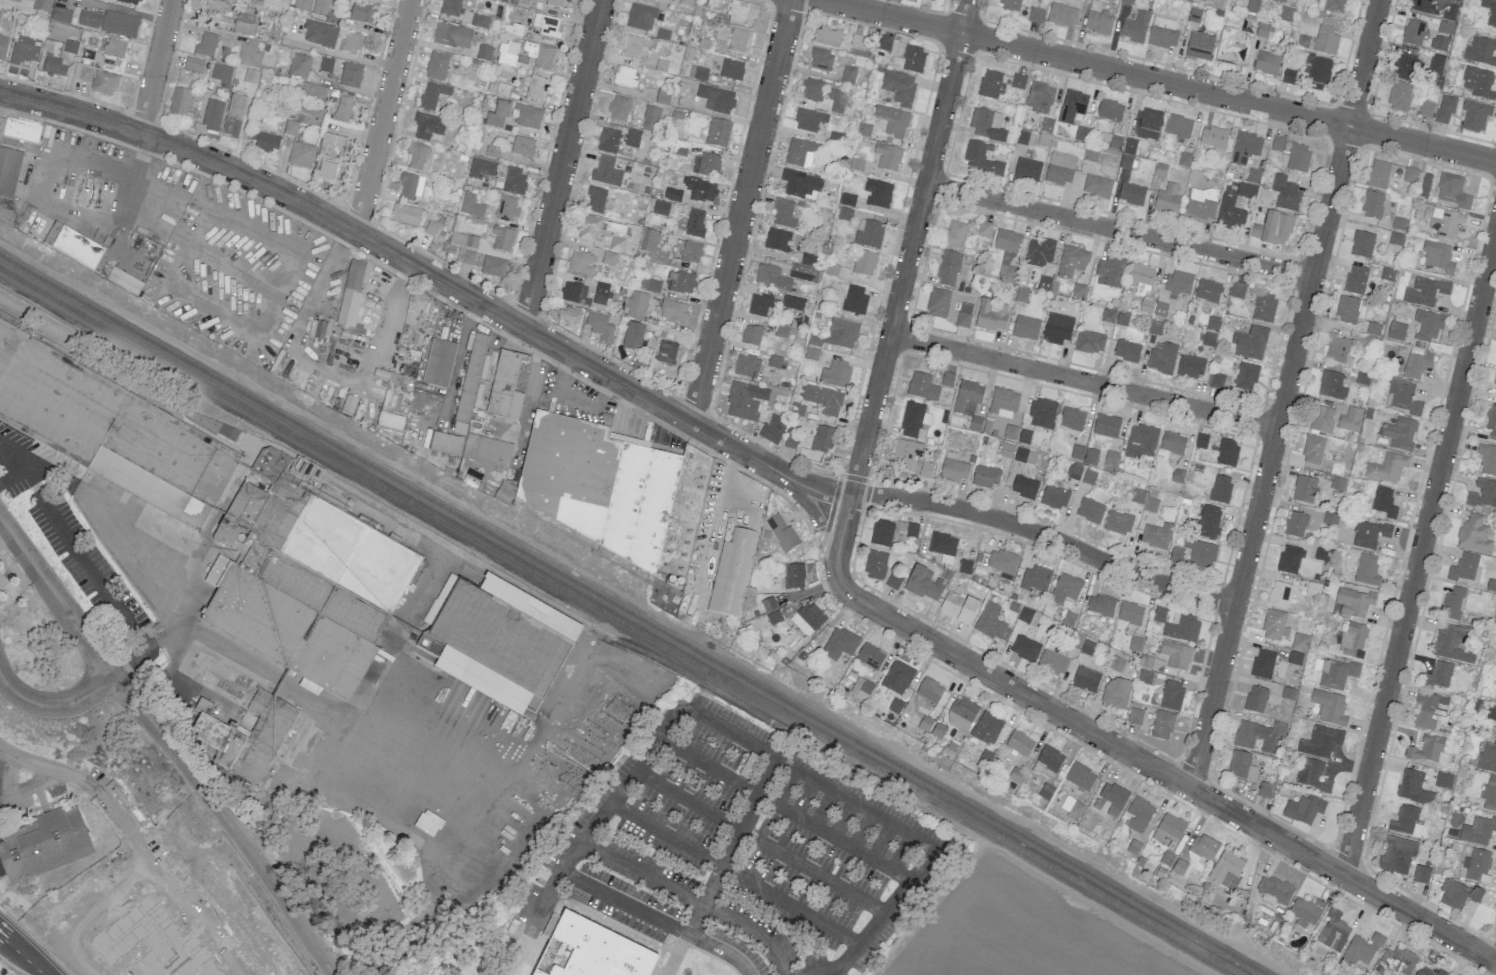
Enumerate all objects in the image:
building: (15, 0)
building: (109, 0)
building: (933, 0)
building: (1106, 0)
building: (1456, 0)
building: (645, 1)
building: (1282, 1)
building: (130, 2)
building: (1127, 2)
building: (558, 3)
building: (686, 3)
building: (41, 5)
building: (302, 5)
building: (1009, 5)
building: (1331, 5)
building: (321, 6)
building: (1422, 6)
building: (450, 7)
building: (216, 9)
road: (126, 11)
building: (1490, 11)
building: (0, 12)
building: (361, 13)
building: (742, 13)
building: (1061, 14)
building: (1286, 14)
building: (61, 15)
building: (1035, 15)
building: (641, 17)
building: (479, 21)
building: (109, 22)
building: (1098, 22)
building: (245, 24)
building: (1248, 25)
building: (547, 26)
building: (1134, 28)
building: (1262, 30)
building: (1163, 33)
building: (1413, 33)
building: (319, 35)
building: (452, 36)
building: (827, 36)
building: (1326, 36)
building: (739, 41)
building: (352, 43)
building: (885, 43)
building: (1439, 43)
building: (206, 44)
building: (634, 46)
building: (1199, 46)
building: (3, 47)
building: (115, 48)
building: (1229, 48)
building: (25, 50)
building: (1481, 51)
building: (484, 52)
building: (251, 53)
road: (344, 57)
building: (545, 58)
building: (821, 60)
building: (910, 60)
building: (1267, 63)
building: (326, 64)
building: (193, 65)
building: (1435, 65)
building: (53, 66)
building: (299, 66)
building: (436, 66)
building: (1404, 66)
road: (158, 67)
building: (731, 70)
building: (1320, 70)
building: (82, 72)
building: (220, 72)
building: (698, 73)
building: (250, 75)
building: (350, 75)
building: (848, 75)
building: (1288, 76)
building: (624, 77)
road: (1159, 79)
building: (1018, 81)
building: (1478, 82)
building: (104, 83)
building: (990, 84)
building: (898, 87)
building: (537, 88)
building: (811, 90)
building: (432, 95)
building: (1399, 96)
building: (1039, 97)
building: (716, 99)
building: (836, 100)
building: (179, 102)
building: (1072, 105)
building: (343, 108)
building: (618, 108)
building: (1425, 109)
building: (1110, 110)
building: (212, 115)
building: (497, 115)
building: (1475, 115)
building: (234, 116)
road: (387, 117)
building: (529, 117)
building: (651, 119)
building: (809, 120)
building: (892, 121)
building: (987, 124)
building: (1148, 124)
building: (428, 125)
building: (1178, 126)
building: (291, 127)
building: (19, 130)
building: (863, 130)
building: (717, 133)
building: (632, 138)
building: (1214, 139)
building: (608, 140)
building: (266, 142)
building: (1114, 142)
building: (1277, 143)
building: (523, 147)
building: (1245, 147)
building: (333, 148)
building: (800, 153)
building: (301, 155)
building: (416, 155)
building: (1091, 155)
building: (887, 157)
building: (1297, 157)
building: (981, 159)
building: (1184, 159)
building: (1126, 162)
road: (561, 163)
building: (705, 165)
building: (856, 165)
building: (1060, 168)
building: (326, 170)
building: (481, 170)
building: (1027, 170)
building: (9, 172)
building: (606, 172)
building: (1378, 174)
building: (1410, 175)
road: (46, 181)
building: (514, 181)
building: (801, 185)
building: (410, 186)
building: (1097, 186)
building: (1424, 186)
building: (699, 189)
building: (1246, 190)
building: (1452, 191)
building: (877, 193)
building: (1285, 193)
building: (672, 194)
building: (1131, 194)
building: (1167, 199)
building: (596, 200)
building: (848, 200)
building: (1199, 205)
building: (1372, 205)
building: (471, 206)
building: (660, 207)
building: (506, 209)
road: (740, 211)
building: (784, 214)
building: (844, 214)
building: (1229, 214)
building: (405, 216)
building: (8, 217)
building: (1446, 222)
building: (695, 224)
building: (431, 228)
building: (588, 228)
building: (984, 229)
building: (1273, 229)
road: (1119, 230)
building: (868, 234)
building: (955, 234)
building: (460, 239)
building: (502, 239)
building: (1395, 239)
building: (777, 240)
building: (1007, 241)
building: (617, 243)
building: (1362, 244)
building: (73, 246)
building: (652, 246)
road: (911, 247)
building: (691, 252)
building: (1039, 252)
building: (468, 257)
building: (609, 257)
building: (1438, 257)
building: (1072, 261)
building: (581, 263)
building: (864, 263)
building: (494, 266)
building: (948, 269)
building: (1109, 271)
building: (803, 273)
building: (1007, 273)
building: (1387, 273)
road: (433, 277)
building: (771, 277)
building: (1355, 280)
building: (124, 281)
building: (679, 282)
building: (1179, 282)
building: (649, 284)
building: (1078, 290)
building: (1207, 290)
building: (1237, 290)
building: (351, 292)
building: (1425, 292)
building: (574, 293)
building: (601, 293)
building: (854, 299)
building: (793, 303)
building: (760, 304)
building: (637, 305)
building: (949, 306)
building: (1264, 307)
building: (1347, 309)
building: (673, 311)
building: (568, 315)
building: (991, 315)
building: (1108, 315)
building: (1122, 318)
building: (1428, 325)
building: (600, 326)
building: (1025, 327)
building: (1156, 327)
building: (1057, 328)
building: (317, 329)
building: (1375, 329)
building: (1396, 331)
building: (837, 334)
building: (751, 335)
building: (633, 336)
building: (1090, 342)
building: (1249, 343)
building: (1127, 350)
road: (461, 351)
building: (666, 351)
building: (1338, 351)
building: (811, 354)
building: (1162, 358)
building: (439, 363)
building: (746, 365)
building: (1416, 365)
building: (1190, 367)
building: (836, 374)
building: (1246, 377)
building: (1494, 378)
building: (947, 379)
building: (1216, 380)
road: (1083, 381)
building: (35, 383)
building: (469, 384)
building: (1332, 385)
building: (505, 386)
building: (922, 387)
road: (528, 390)
road: (1283, 393)
building: (392, 394)
building: (1402, 396)
building: (968, 397)
building: (824, 400)
building: (745, 401)
building: (1003, 403)
building: (1042, 413)
building: (1072, 418)
building: (912, 420)
building: (1322, 420)
building: (1349, 420)
building: (390, 422)
building: (1491, 422)
building: (212, 425)
building: (1106, 425)
building: (772, 429)
building: (1010, 432)
building: (1400, 433)
building: (822, 439)
building: (1140, 441)
building: (1200, 441)
building: (1172, 443)
building: (445, 444)
building: (1313, 449)
building: (1006, 450)
building: (487, 451)
building: (1076, 452)
building: (1227, 452)
building: (903, 453)
building: (1025, 456)
building: (1091, 456)
road: (11, 457)
building: (188, 458)
building: (1487, 459)
building: (1110, 460)
building: (270, 464)
building: (1386, 468)
building: (926, 469)
building: (954, 469)
building: (1074, 472)
road: (11, 475)
building: (1177, 476)
building: (985, 477)
building: (1089, 477)
building: (1337, 483)
building: (1024, 487)
building: (149, 488)
building: (1220, 489)
building: (1304, 489)
building: (613, 493)
building: (1483, 494)
building: (1138, 496)
building: (1054, 497)
building: (1383, 502)
building: (1151, 505)
building: (1090, 510)
road: (816, 513)
road: (845, 522)
building: (1118, 522)
building: (1207, 522)
road: (720, 523)
building: (1296, 524)
building: (907, 529)
building: (781, 532)
building: (882, 533)
building: (1369, 534)
road: (1046, 535)
building: (1156, 535)
building: (1474, 535)
building: (943, 546)
road: (1419, 553)
building: (1176, 554)
building: (1200, 554)
building: (1289, 559)
building: (1002, 563)
building: (875, 565)
building: (1465, 568)
building: (1366, 570)
building: (731, 573)
road: (93, 575)
building: (794, 576)
building: (1034, 578)
building: (893, 581)
building: (924, 583)
building: (1065, 589)
building: (1279, 594)
building: (1354, 602)
building: (768, 603)
building: (1452, 603)
building: (1101, 605)
building: (958, 607)
building: (275, 608)
railway: (634, 613)
building: (1130, 613)
building: (1159, 614)
building: (1025, 615)
building: (807, 619)
railway: (621, 621)
building: (992, 623)
building: (1275, 625)
building: (1183, 629)
railway: (605, 636)
building: (1351, 640)
building: (1300, 642)
building: (840, 644)
building: (1135, 644)
building: (1451, 644)
building: (1025, 648)
building: (1176, 655)
building: (870, 656)
building: (1295, 658)
building: (1052, 663)
building: (1116, 664)
building: (1263, 664)
building: (1336, 673)
building: (1439, 675)
building: (897, 677)
building: (1086, 679)
building: (1495, 687)
building: (862, 688)
building: (929, 690)
building: (1116, 692)
building: (1171, 695)
building: (1255, 699)
road: (54, 706)
building: (1330, 707)
building: (1429, 710)
building: (961, 713)
building: (1491, 713)
building: (1135, 716)
building: (925, 723)
building: (1162, 725)
building: (987, 728)
building: (1250, 734)
building: (1495, 736)
building: (247, 738)
building: (1320, 742)
building: (1019, 743)
road: (169, 744)
building: (1426, 749)
building: (1487, 757)
building: (1050, 758)
road: (1151, 766)
building: (1241, 766)
road: (46, 775)
building: (1312, 775)
building: (1080, 776)
road: (817, 779)
building: (1443, 780)
building: (1413, 787)
building: (1489, 794)
building: (1113, 798)
building: (1303, 809)
road: (785, 810)
building: (1073, 810)
building: (1139, 814)
building: (1406, 821)
building: (1168, 829)
road: (744, 831)
building: (1477, 831)
road: (761, 840)
building: (43, 844)
building: (1203, 847)
building: (1396, 854)
building: (1477, 865)
building: (1227, 869)
building: (1421, 874)
road: (734, 875)
road: (653, 876)
building: (1273, 889)
building: (1457, 894)
building: (1306, 911)
road: (660, 921)
road: (700, 921)
crop: (1012, 932)
building: (1333, 932)
building: (153, 943)
building: (589, 950)
building: (1360, 950)
road: (21, 955)
building: (1398, 960)
building: (1427, 972)

